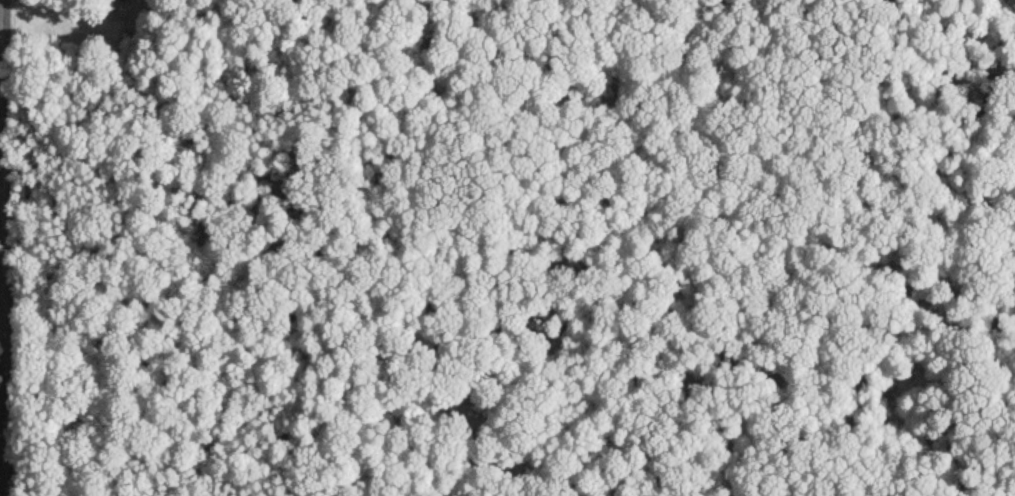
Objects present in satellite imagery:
road: (92, 5)
road: (1, 247)
road: (1, 330)

